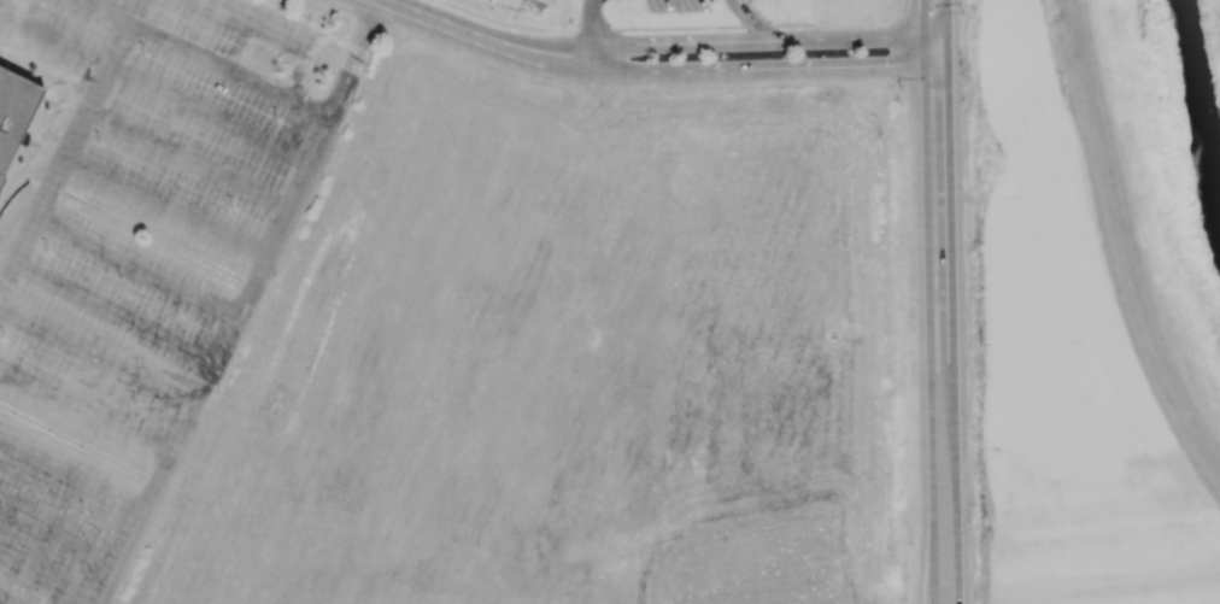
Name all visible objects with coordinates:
parking lot: (509, 2)
parking lot: (675, 5)
road: (573, 13)
road: (359, 14)
road: (517, 18)
road: (921, 19)
road: (757, 22)
traffic signals: (921, 23)
road: (948, 25)
road: (712, 27)
road: (592, 29)
road: (602, 30)
road: (277, 35)
road: (57, 36)
road: (479, 40)
road: (770, 43)
road: (212, 59)
road: (610, 66)
traffic signals: (893, 66)
road: (791, 69)
traffic signals: (949, 80)
river: (1195, 110)
building: (18, 118)
road: (72, 146)
road: (39, 164)
road: (145, 234)
road: (1121, 241)
road: (950, 254)
parking lot: (140, 265)
road: (927, 286)
road: (248, 306)
road: (80, 445)
road: (956, 530)
road: (933, 569)

